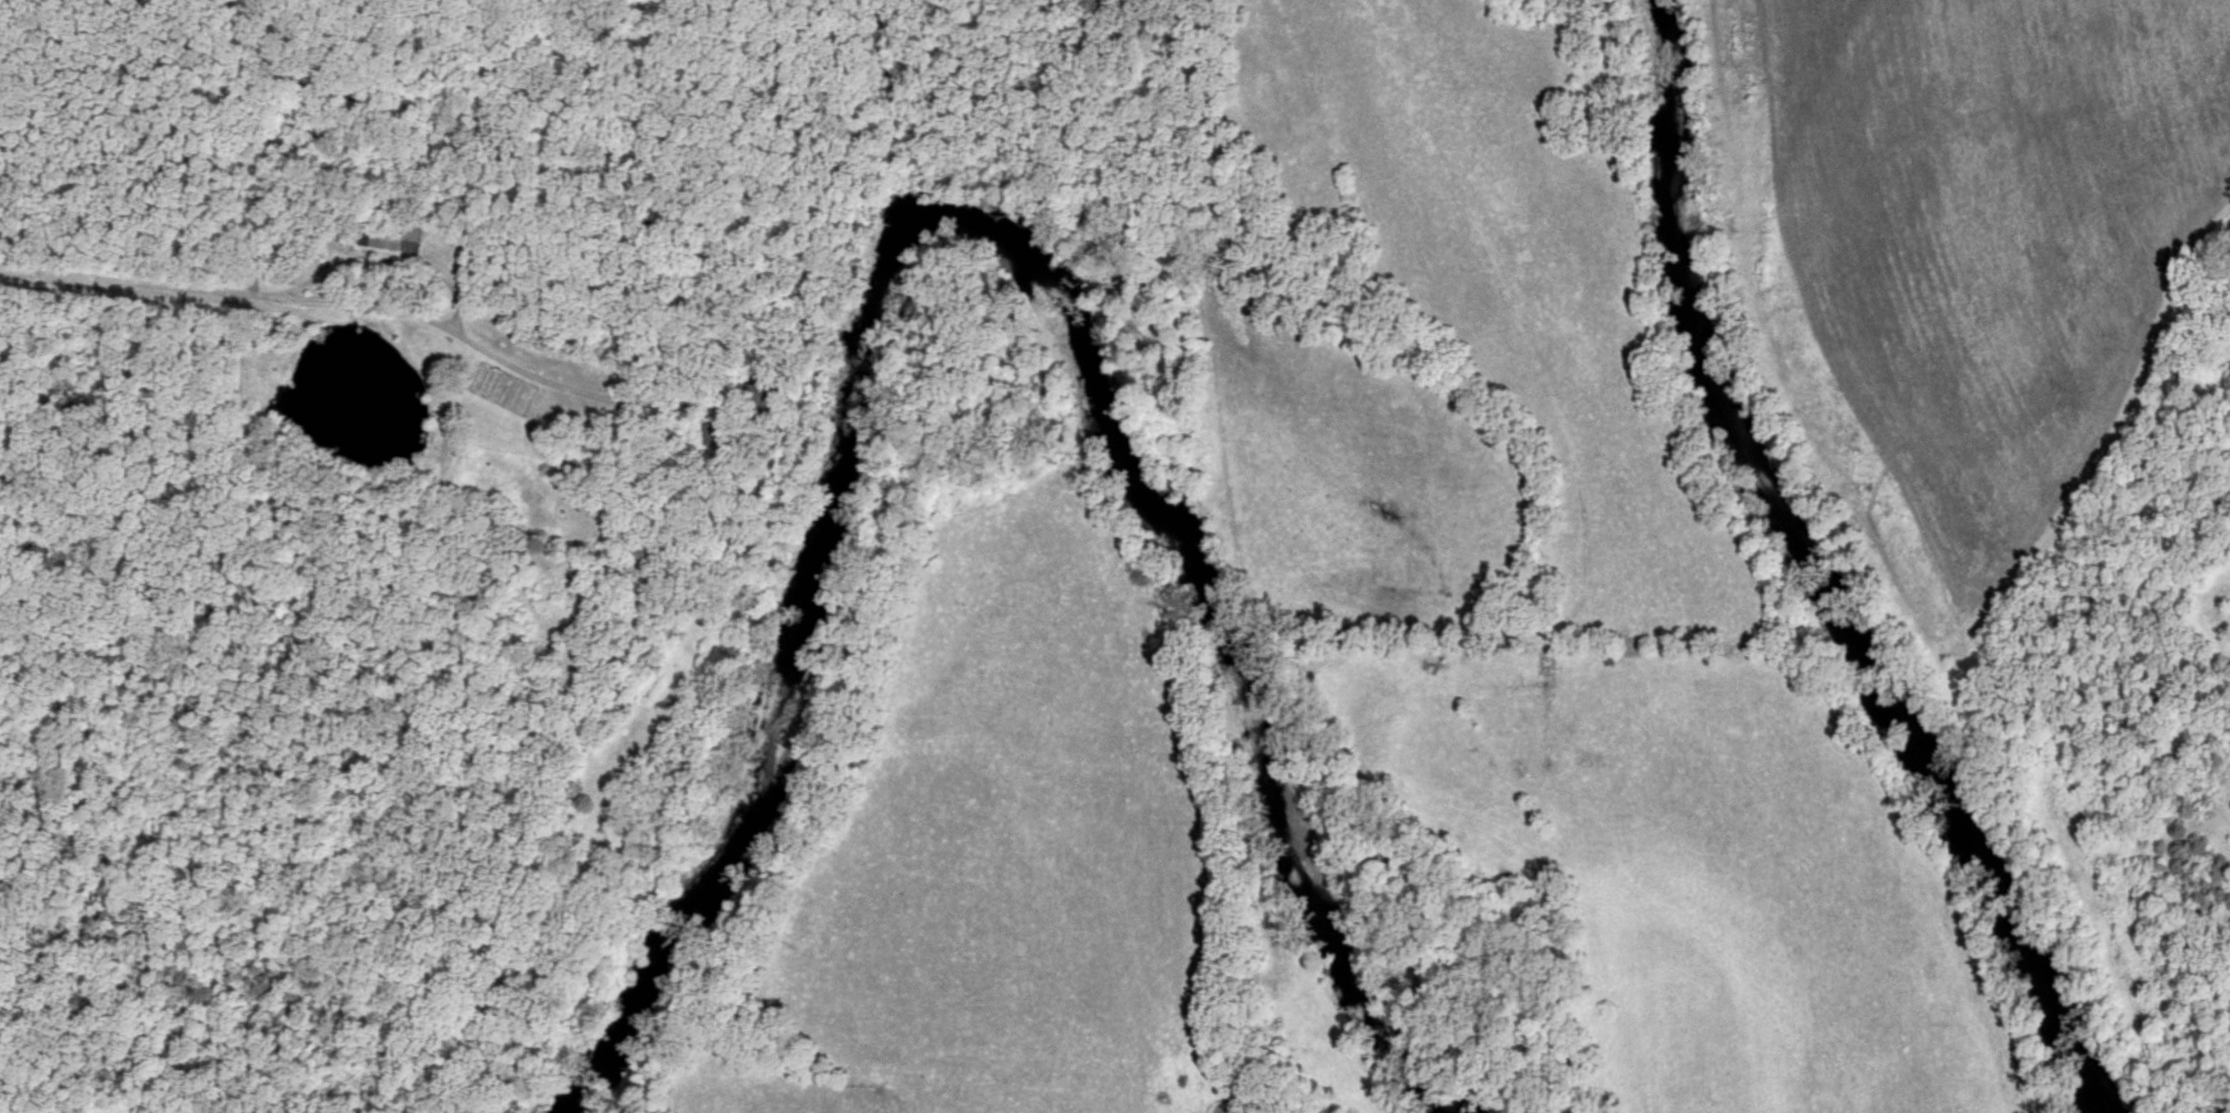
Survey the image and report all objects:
building: (396, 236)
road: (387, 252)
road: (356, 298)

